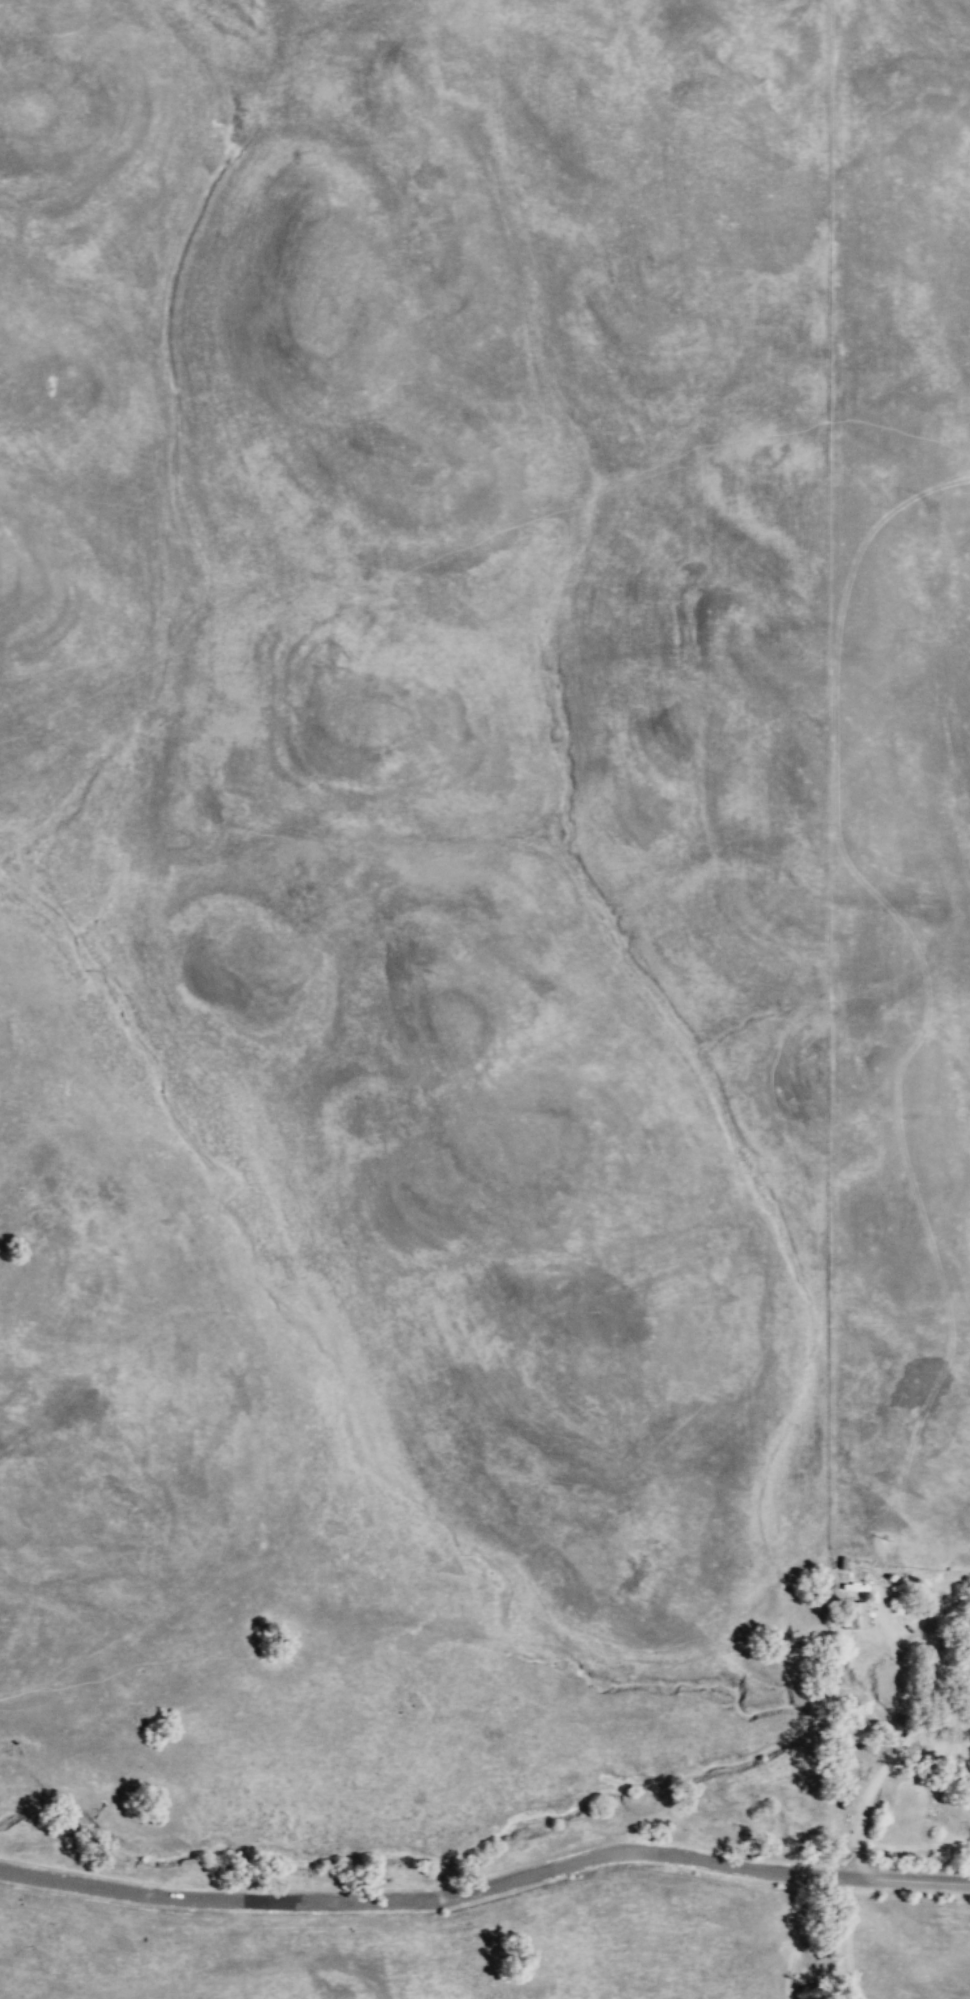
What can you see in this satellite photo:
building: (855, 1615)
road: (487, 1888)

